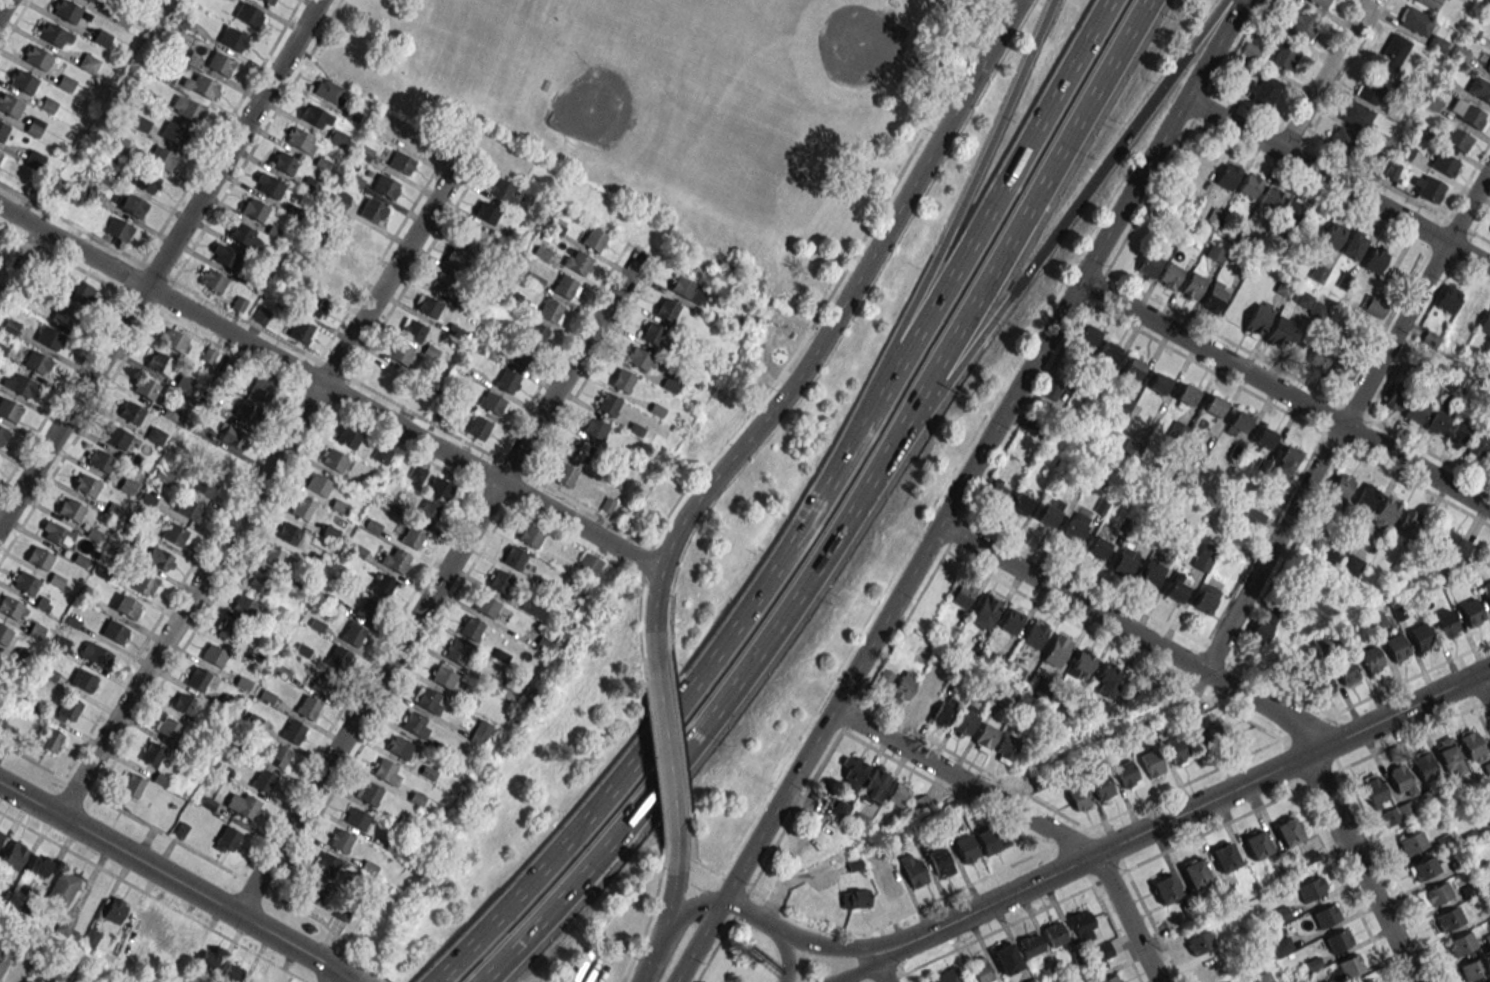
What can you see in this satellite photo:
building: (87, 0)
building: (265, 0)
building: (1320, 3)
building: (1428, 3)
road: (2, 4)
building: (67, 10)
building: (248, 14)
building: (1416, 21)
building: (1301, 24)
building: (52, 34)
building: (102, 38)
building: (231, 38)
building: (1437, 43)
park: (855, 44)
building: (1249, 51)
building: (1393, 52)
building: (1458, 54)
building: (1285, 55)
building: (37, 57)
building: (88, 62)
building: (219, 63)
building: (1488, 66)
road: (1323, 76)
building: (23, 81)
building: (203, 86)
building: (1259, 89)
building: (1479, 89)
building: (328, 90)
building: (1370, 90)
park: (598, 103)
building: (10, 105)
building: (187, 109)
building: (1469, 114)
park: (678, 115)
building: (315, 116)
building: (1358, 116)
building: (3, 131)
road: (219, 131)
building: (174, 133)
building: (337, 138)
building: (414, 139)
building: (1341, 139)
road: (256, 140)
building: (300, 140)
building: (1457, 140)
building: (1404, 151)
building: (161, 158)
building: (34, 159)
building: (283, 163)
building: (401, 163)
building: (1443, 164)
building: (1227, 176)
building: (142, 179)
road: (1337, 183)
building: (268, 185)
building: (1250, 185)
building: (309, 186)
building: (386, 186)
building: (1426, 187)
building: (501, 188)
building: (1271, 197)
building: (337, 199)
building: (129, 204)
building: (253, 209)
building: (373, 210)
building: (1291, 210)
building: (486, 212)
road: (949, 228)
road: (979, 228)
building: (118, 229)
road: (1016, 231)
road: (1056, 233)
building: (243, 235)
building: (1333, 235)
building: (471, 237)
building: (593, 239)
building: (1354, 245)
building: (541, 252)
building: (223, 256)
building: (343, 257)
building: (455, 259)
road: (161, 261)
building: (1378, 261)
building: (577, 262)
building: (1149, 265)
building: (1170, 276)
building: (211, 280)
building: (329, 281)
building: (441, 282)
building: (564, 286)
building: (1193, 286)
building: (686, 289)
building: (78, 290)
building: (1214, 297)
building: (1447, 298)
building: (238, 303)
building: (426, 305)
building: (315, 306)
building: (1373, 306)
building: (1316, 308)
building: (666, 309)
building: (550, 310)
building: (64, 314)
building: (261, 315)
building: (1466, 315)
building: (1258, 318)
road: (247, 320)
building: (1485, 324)
building: (300, 330)
building: (412, 330)
building: (536, 332)
building: (1281, 332)
building: (652, 334)
road: (825, 335)
building: (1088, 335)
building: (49, 337)
building: (1430, 338)
building: (171, 339)
building: (1451, 350)
building: (1108, 351)
building: (399, 353)
building: (518, 359)
building: (641, 360)
building: (1317, 360)
building: (37, 362)
building: (159, 363)
building: (1345, 371)
building: (1130, 372)
road: (70, 376)
building: (506, 380)
building: (621, 382)
building: (1158, 383)
building: (19, 384)
building: (144, 387)
building: (261, 388)
building: (1050, 388)
road: (329, 389)
building: (1186, 394)
road: (1285, 394)
building: (1394, 399)
building: (491, 402)
building: (607, 403)
building: (1122, 404)
building: (1214, 406)
building: (9, 409)
building: (245, 411)
building: (1415, 411)
building: (130, 412)
road: (1345, 420)
building: (1238, 422)
building: (1436, 422)
building: (1029, 426)
building: (479, 427)
building: (594, 428)
building: (2, 434)
building: (1457, 434)
building: (155, 435)
building: (115, 436)
building: (348, 436)
building: (233, 438)
building: (1262, 440)
building: (1478, 447)
road: (982, 449)
building: (1131, 449)
building: (577, 450)
building: (383, 453)
building: (99, 460)
building: (335, 460)
building: (217, 461)
road: (254, 461)
building: (1281, 469)
building: (416, 474)
building: (563, 474)
building: (1184, 478)
road: (285, 479)
building: (614, 479)
building: (318, 484)
building: (85, 485)
building: (204, 486)
road: (259, 486)
building: (1342, 486)
building: (440, 488)
building: (997, 489)
building: (1365, 498)
building: (1020, 503)
building: (302, 507)
building: (70, 509)
building: (189, 509)
building: (1049, 511)
building: (429, 512)
building: (1385, 513)
building: (1252, 518)
building: (1408, 523)
building: (1076, 524)
building: (287, 532)
building: (330, 532)
building: (174, 533)
building: (56, 534)
building: (530, 535)
building: (413, 536)
building: (1450, 540)
building: (1098, 545)
building: (271, 555)
building: (514, 557)
building: (1204, 557)
building: (39, 558)
building: (159, 559)
building: (395, 559)
building: (1124, 561)
building: (589, 563)
building: (1351, 564)
building: (1150, 574)
building: (24, 581)
building: (500, 581)
building: (258, 582)
building: (143, 583)
road: (438, 583)
building: (383, 585)
building: (1177, 587)
building: (1486, 591)
building: (962, 593)
building: (1206, 598)
building: (242, 605)
building: (486, 605)
building: (12, 607)
building: (128, 607)
building: (368, 609)
building: (984, 611)
building: (1471, 611)
building: (1009, 620)
building: (1376, 621)
building: (1446, 623)
building: (1264, 624)
building: (470, 627)
building: (226, 630)
building: (113, 631)
road: (637, 631)
building: (353, 633)
building: (1034, 634)
building: (1420, 636)
building: (1396, 647)
building: (1056, 650)
building: (92, 652)
building: (457, 653)
building: (213, 654)
building: (337, 659)
building: (1371, 659)
building: (1080, 664)
building: (1345, 672)
building: (443, 676)
building: (197, 678)
building: (882, 679)
building: (1106, 679)
building: (83, 680)
building: (321, 684)
building: (1320, 684)
building: (902, 686)
road: (1483, 689)
road: (1242, 694)
building: (427, 699)
building: (922, 699)
building: (184, 703)
building: (307, 707)
building: (67, 710)
building: (941, 714)
building: (964, 722)
building: (415, 723)
building: (167, 727)
building: (292, 731)
road: (657, 731)
building: (480, 732)
building: (1208, 732)
road: (696, 734)
building: (984, 736)
building: (50, 739)
building: (1470, 743)
building: (400, 747)
building: (1006, 748)
road: (666, 749)
building: (1176, 750)
building: (151, 753)
building: (278, 755)
building: (1448, 756)
building: (1151, 762)
road: (654, 764)
building: (1423, 765)
building: (1487, 768)
building: (386, 770)
building: (851, 772)
building: (1126, 774)
building: (1040, 775)
building: (1400, 779)
building: (263, 780)
building: (874, 784)
building: (132, 785)
building: (1101, 787)
building: (1374, 790)
building: (368, 792)
road: (978, 792)
building: (906, 797)
building: (1078, 797)
building: (243, 804)
road: (1184, 813)
building: (1395, 813)
road: (1025, 815)
building: (1487, 815)
building: (356, 818)
building: (1289, 831)
building: (1, 834)
building: (1489, 836)
building: (227, 839)
building: (340, 840)
building: (990, 841)
building: (1411, 842)
building: (1257, 844)
building: (966, 848)
road: (197, 851)
building: (15, 855)
building: (1225, 857)
building: (940, 862)
building: (326, 863)
building: (39, 865)
building: (1424, 868)
building: (912, 869)
building: (1195, 873)
road: (672, 876)
road: (177, 882)
building: (888, 884)
building: (62, 887)
building: (1165, 888)
building: (1310, 889)
building: (311, 891)
building: (1435, 894)
road: (152, 897)
building: (854, 898)
road: (691, 904)
building: (115, 910)
road: (648, 915)
building: (1325, 915)
building: (1449, 918)
building: (141, 923)
building: (1082, 925)
building: (1054, 933)
building: (160, 934)
road: (698, 939)
road: (796, 939)
building: (1338, 940)
building: (1199, 942)
building: (1031, 944)
building: (1461, 944)
building: (182, 949)
building: (1102, 951)
road: (652, 952)
road: (784, 958)
building: (1006, 958)
building: (3, 959)
building: (207, 960)
building: (1346, 967)
building: (1209, 968)
building: (1473, 968)
road: (885, 969)
building: (980, 970)
road: (857, 971)
building: (231, 972)
road: (587, 975)
building: (12, 976)
building: (945, 976)
building: (1263, 977)
road: (342, 979)
building: (1110, 979)
building: (1366, 980)
building: (30, 981)

